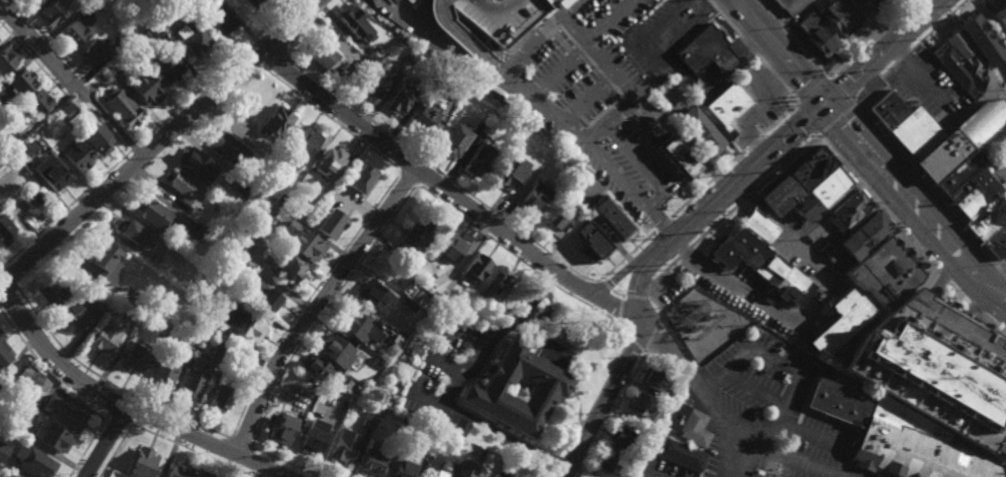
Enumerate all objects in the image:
building: (259, 0)
road: (965, 0)
building: (95, 1)
building: (28, 2)
building: (170, 2)
building: (393, 3)
road: (471, 4)
building: (870, 4)
road: (767, 7)
building: (788, 7)
building: (52, 10)
road: (581, 10)
road: (460, 15)
building: (1000, 16)
building: (218, 19)
road: (307, 19)
road: (778, 19)
road: (954, 19)
parking garage: (492, 20)
building: (838, 20)
building: (356, 21)
road: (615, 22)
building: (506, 23)
road: (988, 24)
road: (938, 25)
road: (734, 28)
building: (153, 29)
building: (74, 30)
road: (490, 31)
building: (124, 33)
road: (278, 33)
road: (544, 35)
road: (868, 37)
building: (190, 38)
building: (820, 39)
building: (981, 39)
road: (464, 41)
road: (54, 43)
road: (43, 48)
building: (92, 51)
road: (806, 51)
road: (586, 52)
road: (781, 52)
building: (320, 53)
building: (373, 53)
building: (413, 53)
building: (705, 53)
road: (273, 54)
road: (534, 55)
road: (905, 55)
road: (467, 56)
building: (7, 58)
road: (248, 60)
building: (970, 60)
road: (38, 63)
road: (767, 65)
road: (939, 65)
building: (110, 67)
building: (362, 67)
building: (166, 68)
building: (955, 68)
parking lot: (570, 70)
road: (677, 71)
road: (559, 75)
road: (925, 79)
building: (21, 81)
road: (876, 82)
power tower: (786, 83)
building: (372, 85)
building: (143, 87)
road: (787, 87)
road: (812, 89)
road: (90, 90)
building: (454, 91)
road: (841, 91)
building: (400, 99)
road: (81, 100)
building: (35, 101)
road: (522, 102)
road: (607, 102)
traffic signals: (828, 104)
building: (121, 107)
building: (726, 107)
building: (66, 109)
building: (888, 110)
building: (426, 118)
road: (834, 119)
building: (276, 120)
road: (329, 120)
road: (807, 120)
road: (115, 125)
building: (700, 131)
road: (148, 133)
building: (914, 134)
building: (11, 139)
building: (455, 140)
building: (959, 140)
road: (159, 142)
building: (103, 143)
building: (302, 143)
building: (228, 148)
building: (77, 155)
road: (836, 159)
building: (479, 160)
building: (679, 160)
building: (329, 163)
road: (406, 163)
building: (640, 163)
road: (732, 163)
road: (785, 163)
building: (195, 164)
road: (433, 169)
parking lot: (997, 169)
power tower: (731, 170)
building: (960, 171)
building: (510, 173)
road: (134, 175)
building: (54, 176)
road: (425, 177)
building: (360, 179)
road: (408, 179)
road: (1004, 180)
building: (808, 182)
road: (860, 185)
building: (242, 186)
road: (628, 187)
building: (185, 189)
road: (447, 191)
road: (929, 191)
building: (973, 194)
road: (749, 195)
building: (30, 197)
building: (532, 200)
building: (280, 201)
road: (838, 202)
road: (916, 205)
building: (268, 206)
building: (804, 207)
road: (707, 208)
building: (850, 212)
building: (154, 214)
building: (557, 219)
building: (609, 219)
road: (717, 223)
building: (330, 224)
building: (980, 224)
road: (661, 225)
building: (759, 226)
building: (4, 230)
road: (900, 231)
building: (132, 232)
building: (197, 232)
building: (414, 234)
road: (789, 234)
building: (241, 238)
building: (859, 238)
building: (996, 238)
building: (301, 242)
building: (590, 246)
building: (449, 248)
power tower: (641, 251)
building: (995, 252)
road: (684, 253)
building: (226, 255)
road: (627, 255)
building: (177, 259)
road: (523, 260)
building: (388, 261)
building: (107, 262)
building: (761, 266)
building: (475, 269)
building: (289, 270)
power tower: (659, 270)
road: (658, 277)
road: (6, 278)
building: (437, 279)
road: (943, 280)
building: (492, 287)
road: (742, 289)
road: (6, 292)
road: (591, 292)
building: (51, 295)
road: (621, 295)
road: (957, 295)
building: (821, 296)
building: (131, 297)
building: (264, 297)
building: (375, 297)
building: (441, 297)
road: (306, 300)
road: (316, 305)
building: (408, 305)
building: (153, 306)
road: (525, 307)
road: (325, 310)
power tower: (688, 310)
road: (972, 310)
building: (431, 311)
building: (79, 313)
building: (133, 318)
building: (840, 322)
power substation: (705, 323)
road: (992, 323)
building: (244, 327)
road: (416, 327)
building: (163, 328)
building: (357, 328)
road: (655, 332)
road: (675, 334)
building: (1, 336)
building: (106, 336)
building: (189, 340)
building: (397, 340)
road: (637, 342)
building: (335, 352)
building: (3, 356)
building: (217, 358)
building: (135, 360)
road: (785, 362)
building: (377, 363)
road: (392, 363)
building: (231, 366)
road: (46, 369)
building: (318, 370)
road: (465, 370)
road: (696, 373)
building: (164, 374)
parking garage: (931, 375)
building: (33, 379)
building: (919, 379)
road: (107, 380)
building: (651, 380)
building: (193, 382)
building: (1, 384)
building: (521, 386)
road: (757, 390)
building: (358, 392)
road: (596, 397)
building: (222, 398)
building: (663, 399)
road: (112, 401)
building: (308, 406)
road: (796, 406)
building: (641, 407)
road: (125, 409)
parking lot: (767, 411)
road: (136, 412)
road: (613, 413)
building: (64, 414)
road: (731, 419)
road: (116, 420)
building: (368, 421)
building: (404, 424)
building: (450, 425)
building: (689, 425)
building: (283, 429)
road: (507, 436)
building: (313, 437)
building: (433, 437)
building: (51, 438)
road: (825, 439)
road: (855, 439)
building: (619, 440)
road: (104, 443)
road: (241, 443)
road: (86, 446)
building: (345, 447)
road: (223, 450)
road: (113, 451)
road: (190, 451)
building: (3, 453)
building: (682, 455)
road: (740, 455)
building: (479, 457)
road: (247, 460)
building: (33, 462)
road: (286, 462)
building: (374, 462)
road: (560, 463)
building: (141, 464)
building: (609, 464)
building: (770, 464)
building: (504, 468)
building: (404, 470)
building: (466, 470)
parking lot: (660, 470)
building: (180, 471)
road: (562, 472)
building: (204, 475)
building: (439, 475)
road: (571, 475)
building: (9, 476)

